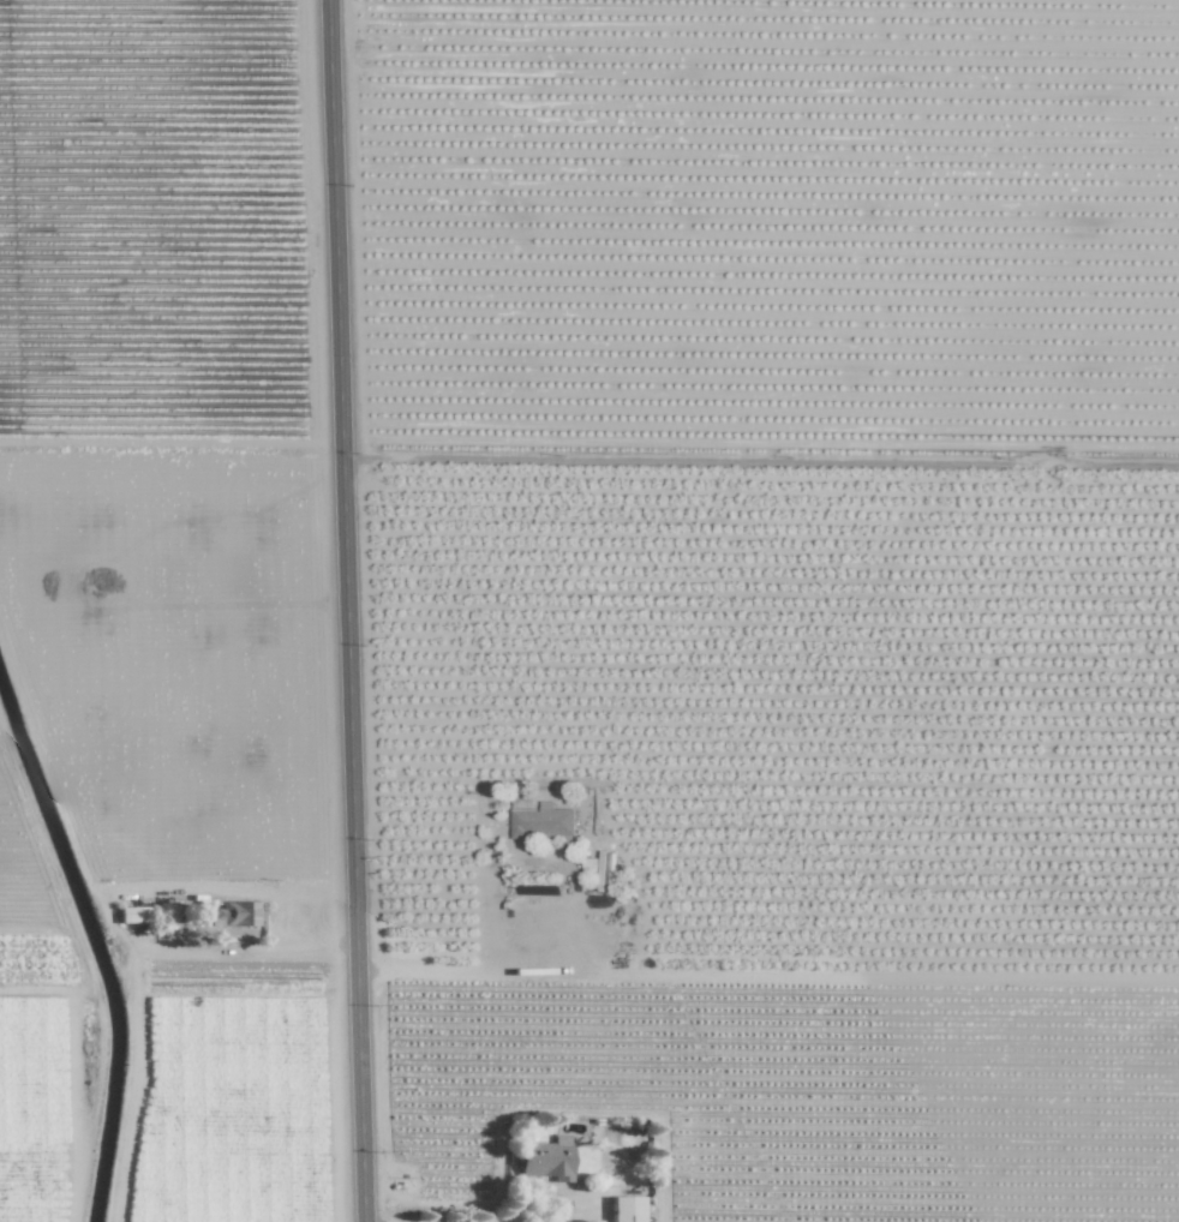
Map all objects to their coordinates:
road: (347, 611)
building: (543, 821)
road: (462, 864)
building: (237, 912)
building: (133, 915)
road: (231, 951)
building: (547, 1158)
road: (538, 1196)
building: (627, 1209)

